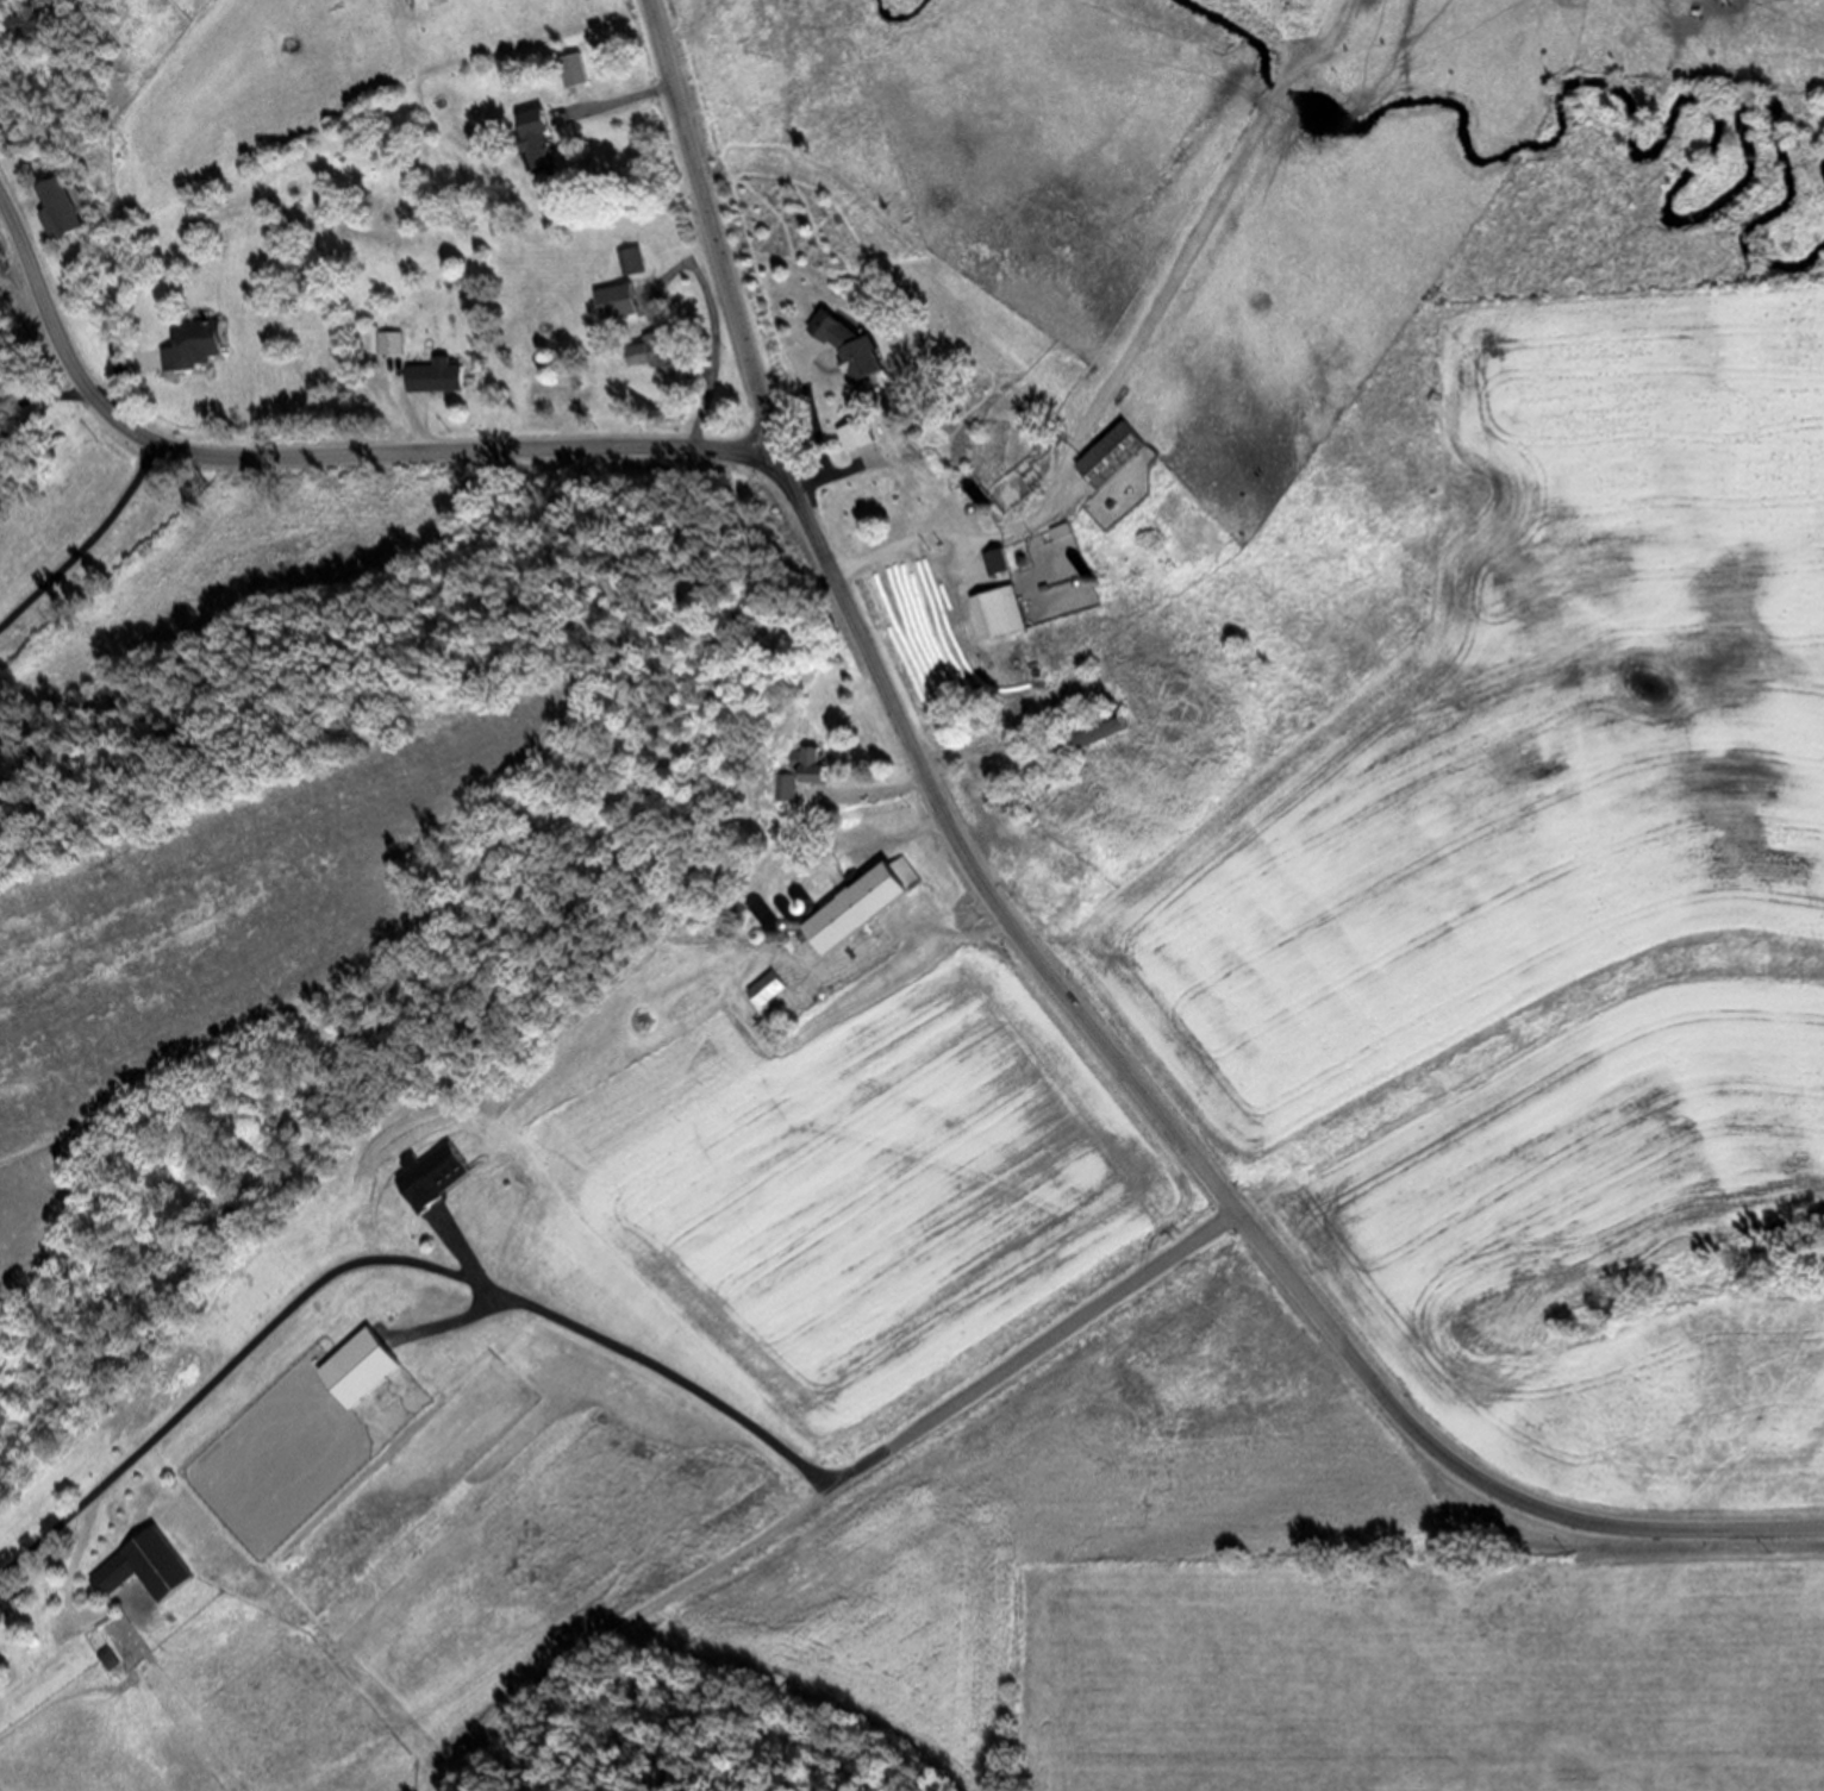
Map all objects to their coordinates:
building: (37, 19)
river: (900, 19)
river: (1266, 60)
building: (571, 70)
building: (583, 73)
road: (625, 102)
river: (1711, 113)
building: (532, 137)
building: (548, 142)
building: (69, 217)
building: (629, 261)
road: (1175, 292)
building: (611, 302)
road: (714, 327)
building: (387, 343)
building: (195, 344)
building: (845, 344)
building: (652, 353)
road: (120, 365)
road: (792, 369)
building: (431, 378)
road: (42, 403)
building: (860, 434)
road: (318, 453)
building: (1105, 456)
road: (87, 544)
road: (895, 550)
building: (993, 561)
building: (992, 612)
road: (763, 655)
building: (1093, 732)
building: (793, 770)
building: (814, 782)
road: (887, 793)
building: (857, 908)
road: (1036, 958)
building: (764, 992)
building: (421, 1175)
road: (616, 1353)
building: (345, 1372)
building: (138, 1568)
road: (637, 1621)
building: (104, 1658)

